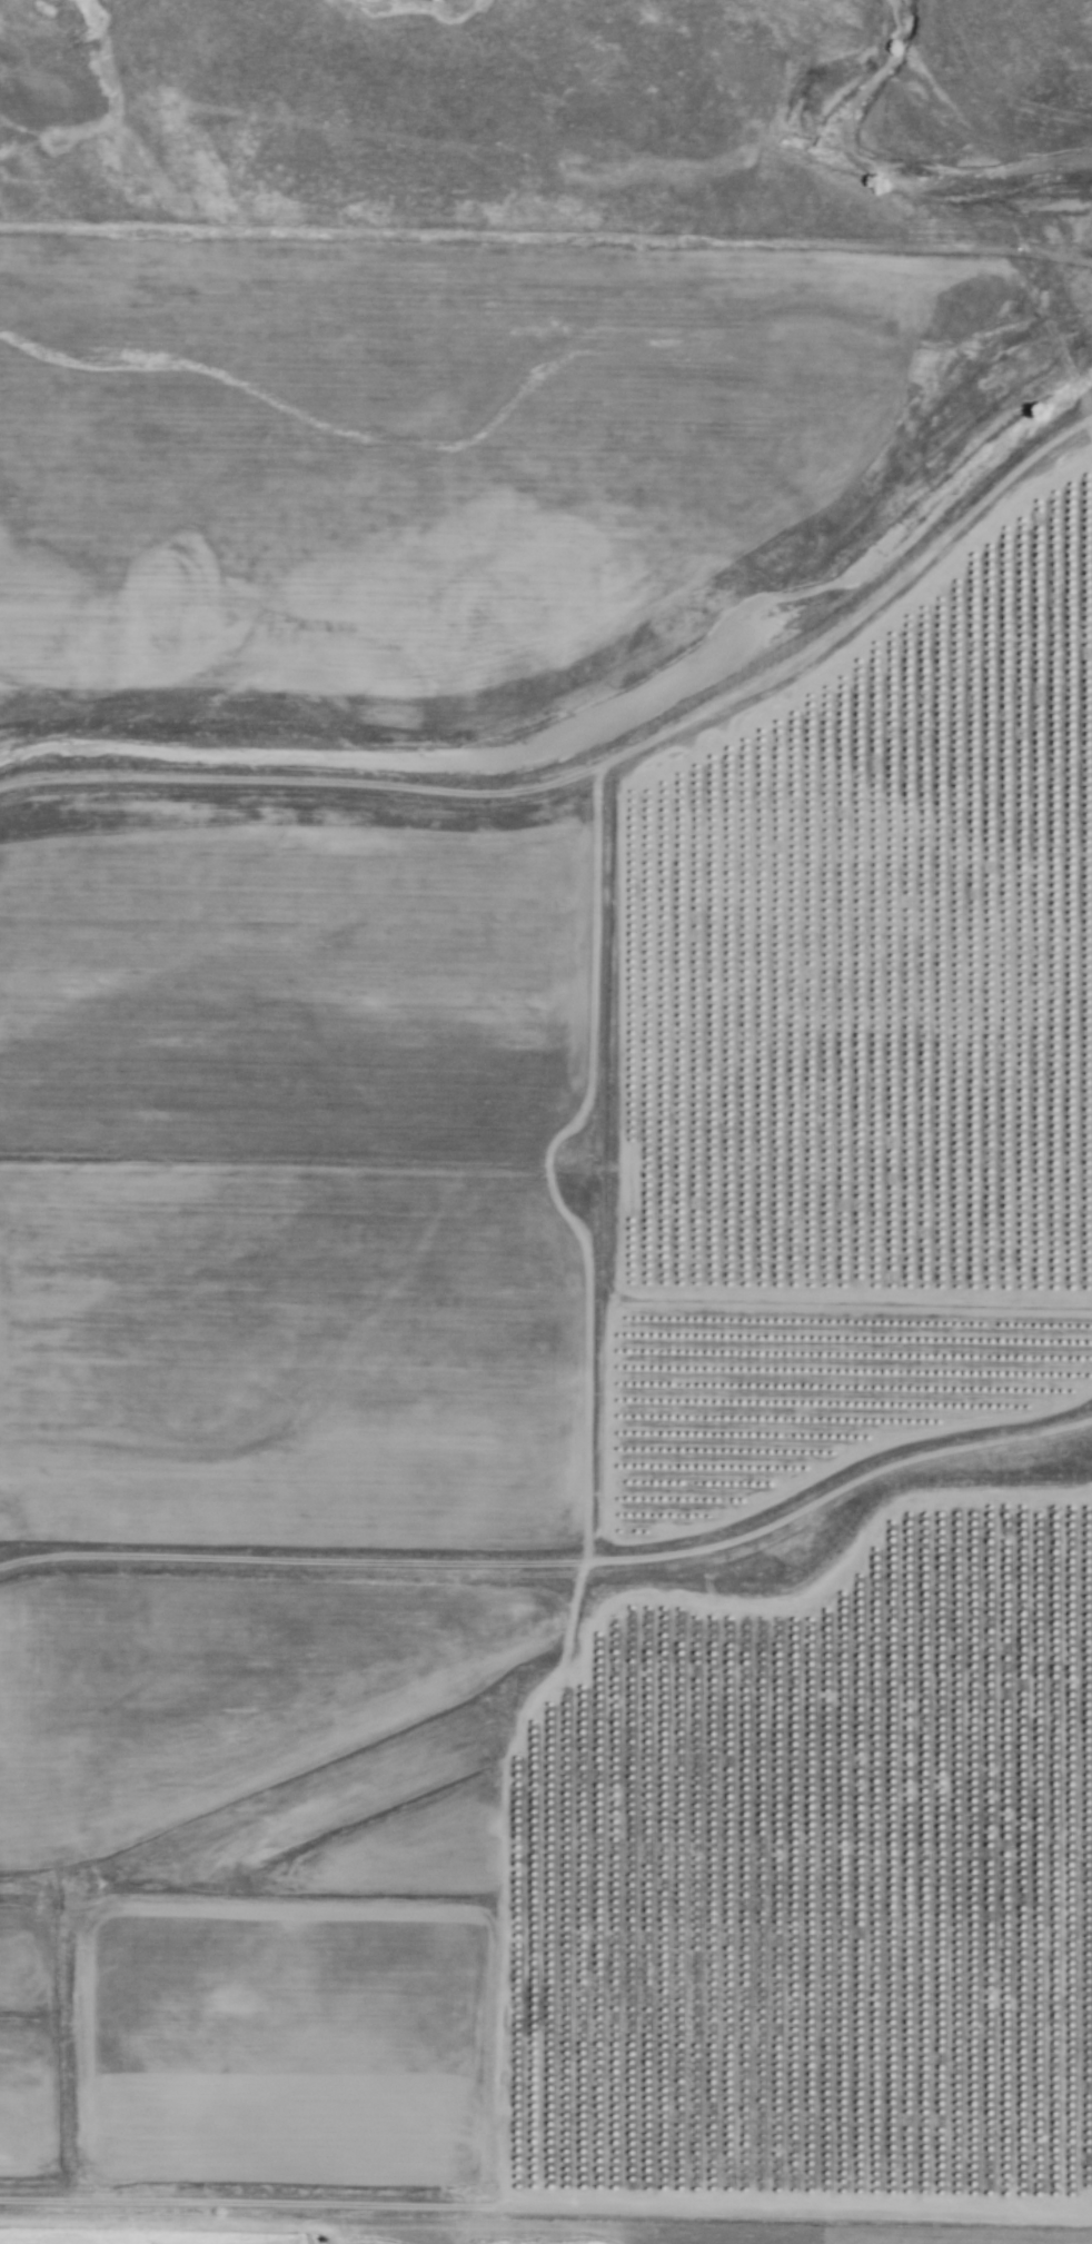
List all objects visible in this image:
river: (447, 12)
river: (883, 173)
road: (600, 765)
road: (557, 1562)
road: (546, 2206)
crop: (147, 2235)

